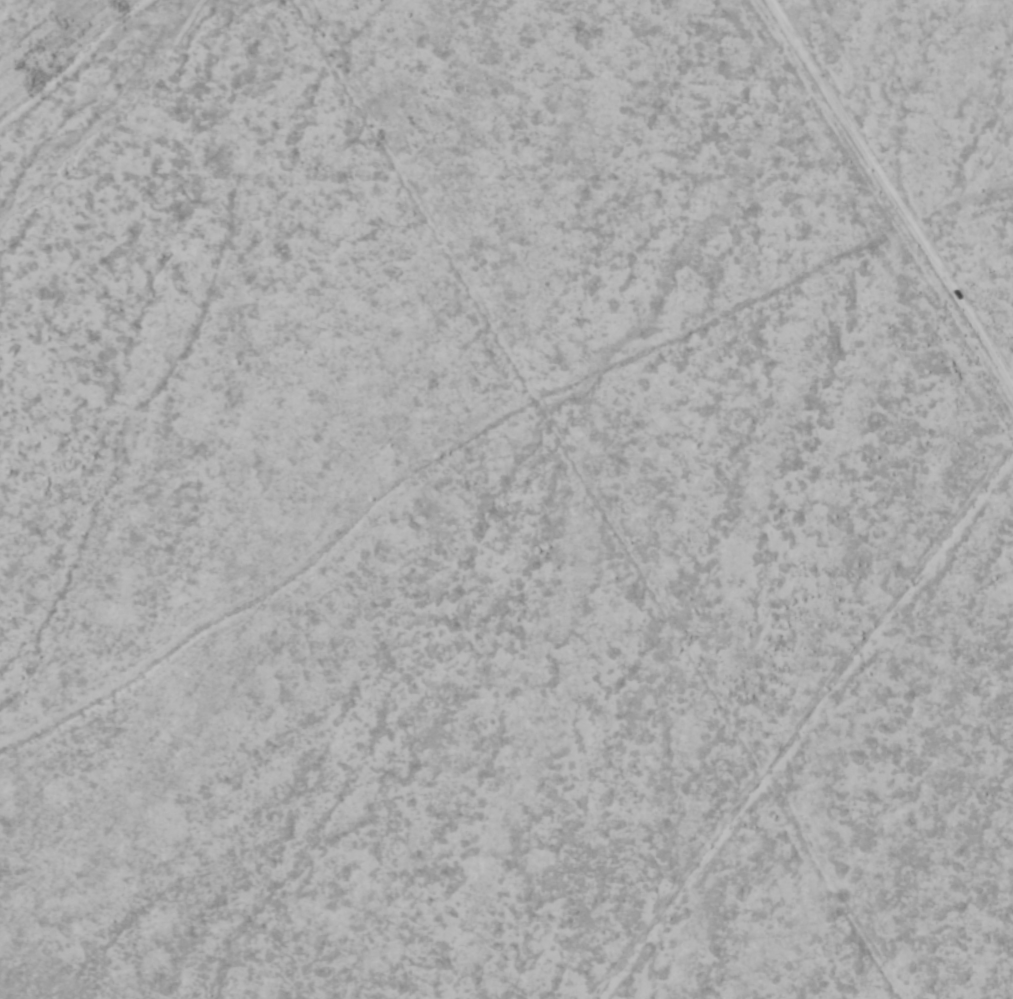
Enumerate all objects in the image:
road: (876, 216)

